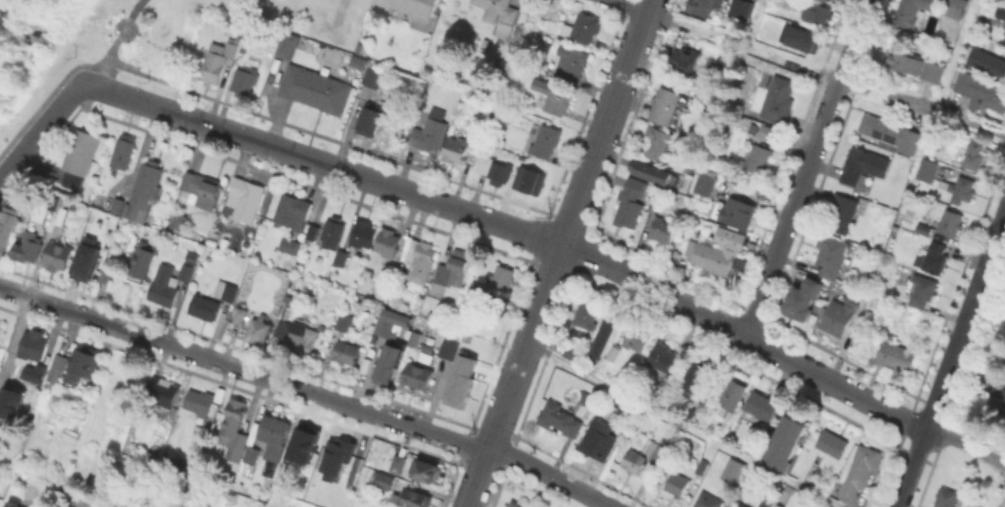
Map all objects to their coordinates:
building: (828, 0)
building: (381, 2)
building: (705, 6)
road: (623, 7)
building: (739, 8)
building: (956, 8)
building: (416, 11)
building: (1000, 11)
building: (817, 12)
building: (912, 13)
building: (444, 14)
building: (499, 14)
road: (119, 15)
road: (751, 23)
building: (583, 28)
building: (1003, 37)
building: (804, 39)
park: (124, 40)
road: (114, 41)
building: (288, 45)
road: (741, 46)
road: (951, 55)
building: (983, 55)
building: (685, 60)
building: (904, 61)
building: (360, 62)
building: (220, 63)
building: (571, 64)
building: (714, 70)
building: (934, 71)
building: (375, 77)
building: (245, 80)
road: (89, 82)
building: (316, 89)
building: (980, 92)
building: (555, 97)
building: (779, 100)
building: (669, 105)
road: (922, 107)
building: (372, 120)
road: (39, 127)
building: (925, 127)
building: (760, 130)
building: (430, 132)
building: (890, 134)
building: (547, 141)
building: (942, 141)
building: (657, 143)
building: (457, 150)
building: (125, 151)
building: (975, 152)
building: (81, 156)
building: (756, 158)
building: (864, 166)
building: (491, 168)
building: (651, 169)
road: (806, 169)
building: (927, 170)
building: (527, 179)
building: (705, 184)
building: (202, 188)
building: (959, 189)
building: (145, 190)
building: (246, 199)
building: (114, 204)
building: (631, 204)
building: (292, 210)
building: (735, 212)
building: (57, 214)
building: (845, 214)
building: (179, 221)
building: (941, 225)
building: (7, 227)
building: (663, 230)
road: (521, 231)
building: (313, 232)
building: (334, 232)
building: (364, 234)
building: (388, 243)
building: (29, 246)
building: (289, 246)
road: (558, 253)
building: (58, 256)
building: (710, 257)
building: (832, 257)
building: (84, 258)
building: (341, 258)
building: (934, 258)
building: (460, 260)
building: (421, 261)
building: (141, 263)
building: (733, 268)
building: (102, 274)
building: (449, 276)
building: (502, 278)
building: (170, 283)
building: (479, 290)
building: (921, 290)
building: (227, 291)
building: (803, 300)
building: (205, 307)
building: (587, 314)
building: (240, 316)
building: (840, 316)
building: (345, 322)
building: (1, 325)
building: (386, 326)
building: (259, 330)
building: (605, 335)
building: (298, 337)
building: (414, 338)
building: (637, 341)
building: (33, 345)
building: (449, 349)
building: (613, 352)
building: (346, 353)
building: (573, 353)
building: (428, 354)
building: (898, 354)
road: (950, 357)
building: (665, 359)
building: (389, 364)
building: (83, 366)
building: (56, 368)
building: (31, 371)
park: (987, 371)
road: (584, 374)
building: (419, 376)
building: (993, 376)
building: (697, 377)
building: (460, 387)
building: (736, 389)
road: (307, 390)
building: (163, 394)
building: (9, 400)
building: (993, 401)
building: (202, 403)
building: (626, 404)
building: (761, 407)
building: (560, 419)
building: (230, 430)
building: (271, 435)
building: (600, 439)
building: (832, 443)
building: (301, 444)
building: (786, 444)
road: (965, 446)
building: (249, 454)
building: (647, 455)
road: (741, 456)
building: (337, 459)
building: (399, 464)
building: (701, 469)
building: (428, 471)
building: (732, 471)
building: (862, 471)
building: (382, 479)
building: (678, 485)
building: (413, 498)
building: (947, 498)
building: (707, 500)
building: (764, 500)
building: (88, 502)
building: (14, 504)
building: (515, 504)
building: (740, 505)
building: (773, 505)
building: (778, 506)
building: (825, 506)

